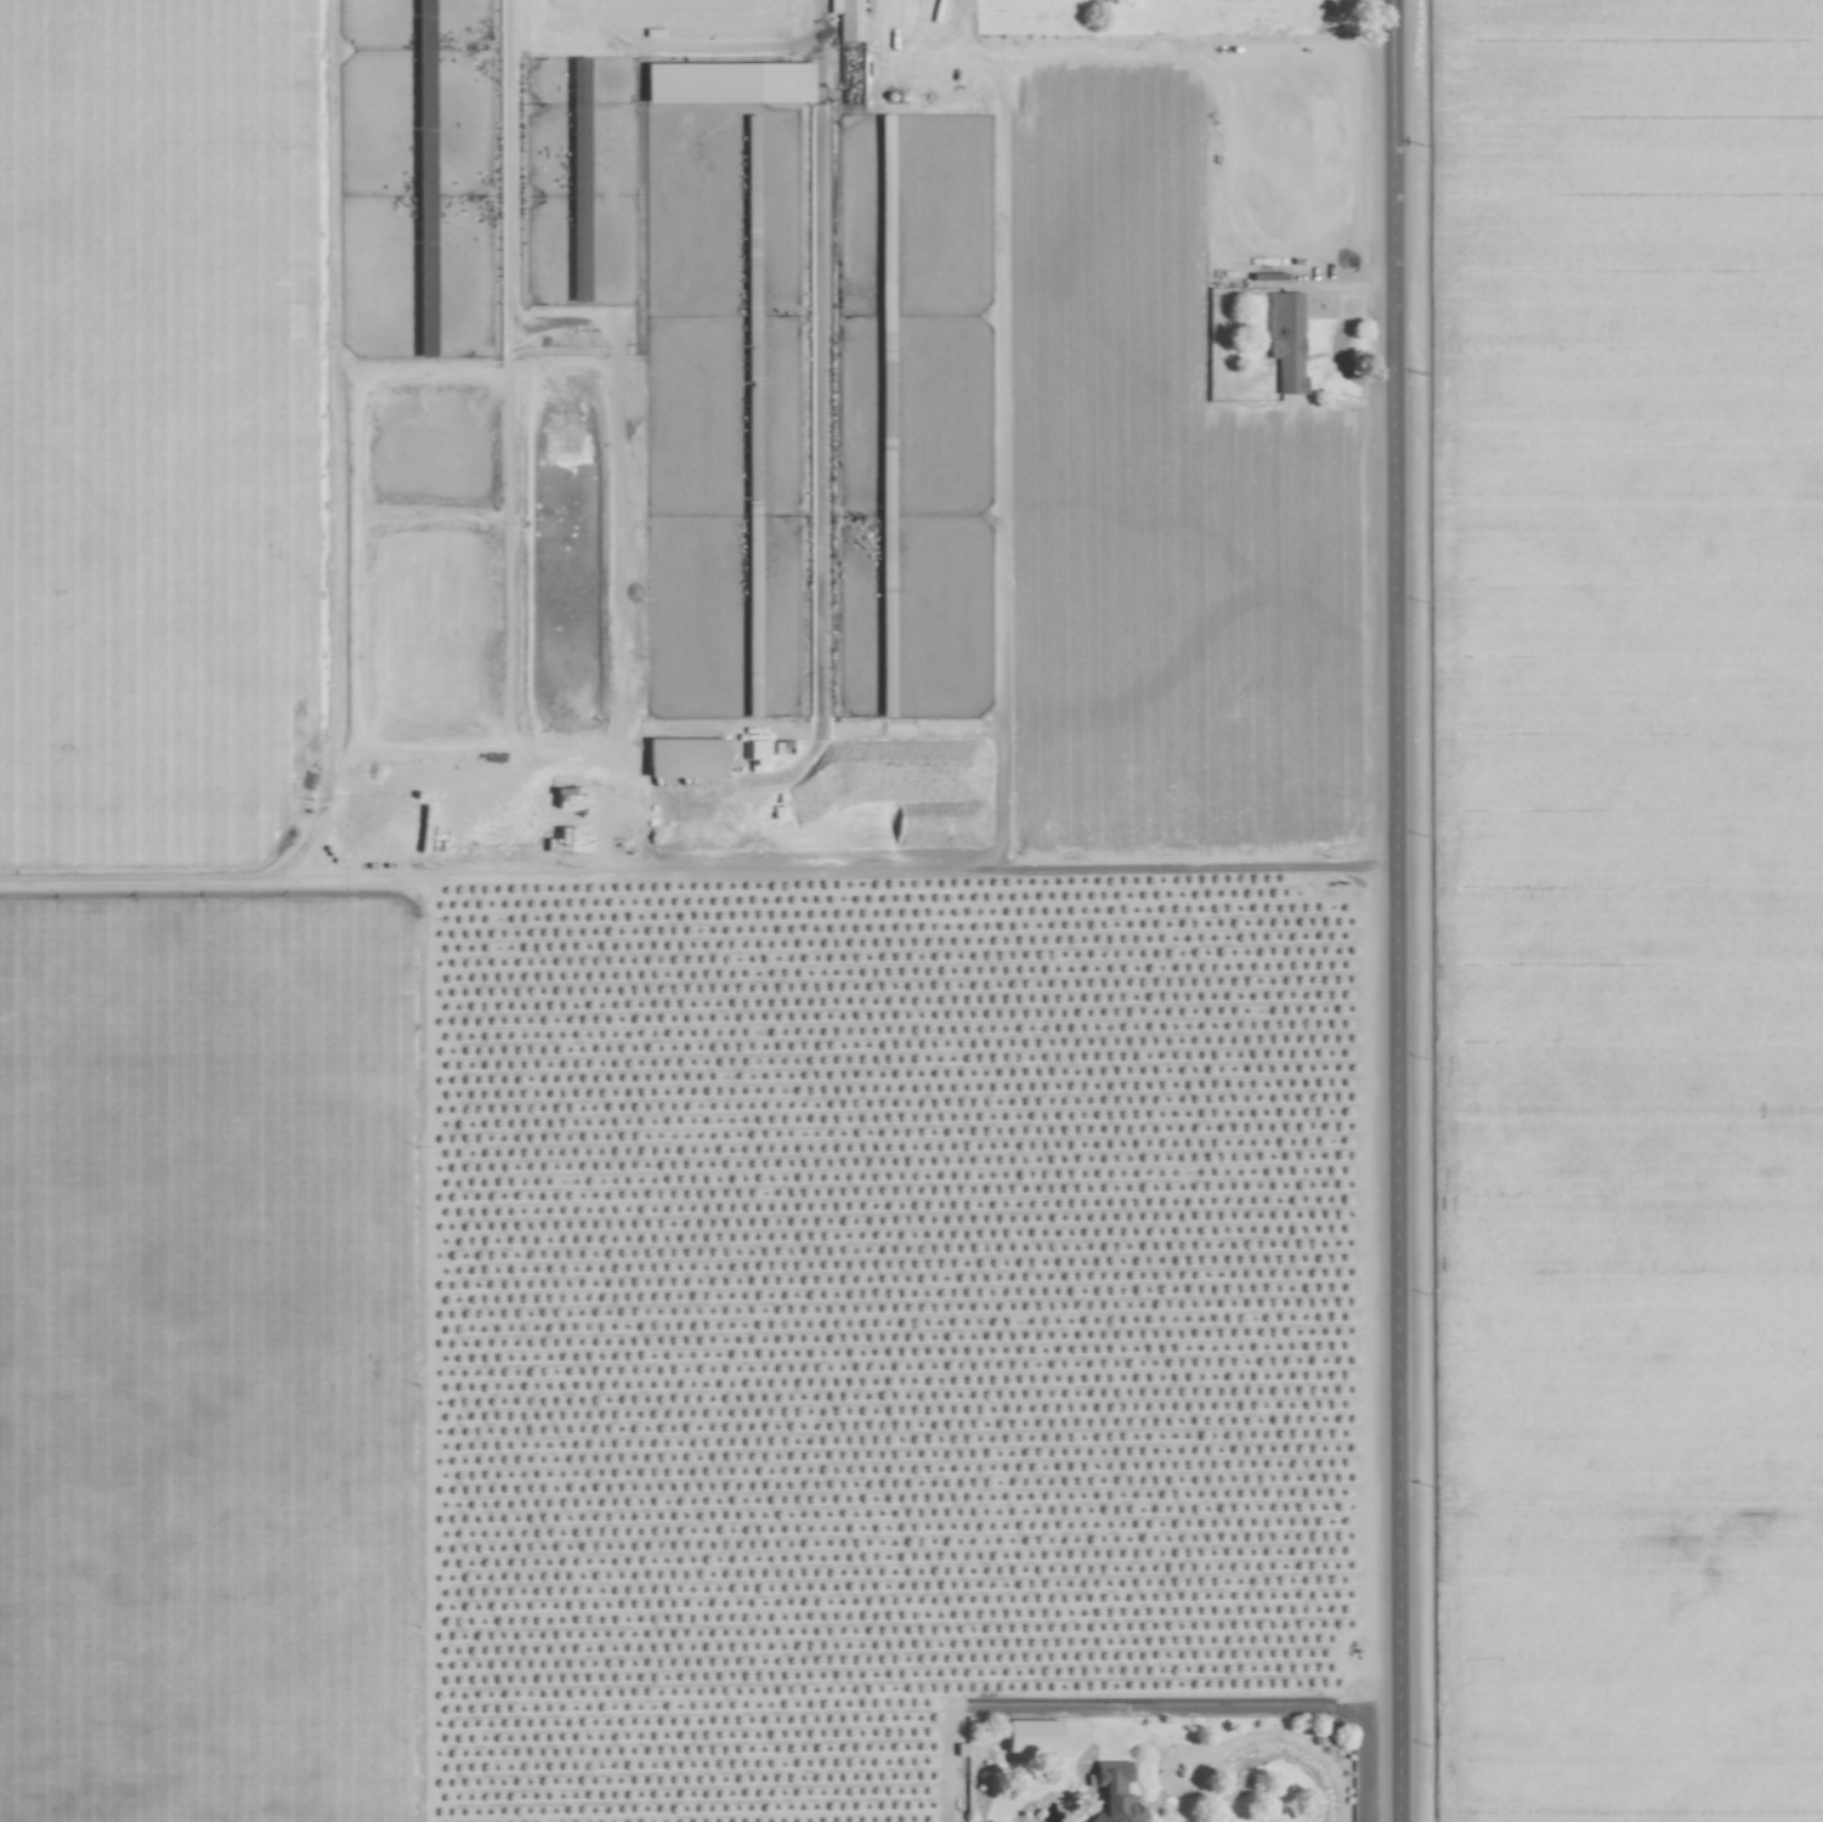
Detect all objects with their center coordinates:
building: (845, 16)
building: (721, 83)
building: (1286, 344)
road: (696, 875)
crop: (911, 911)
road: (1393, 911)
road: (1291, 1737)
building: (1111, 1793)

